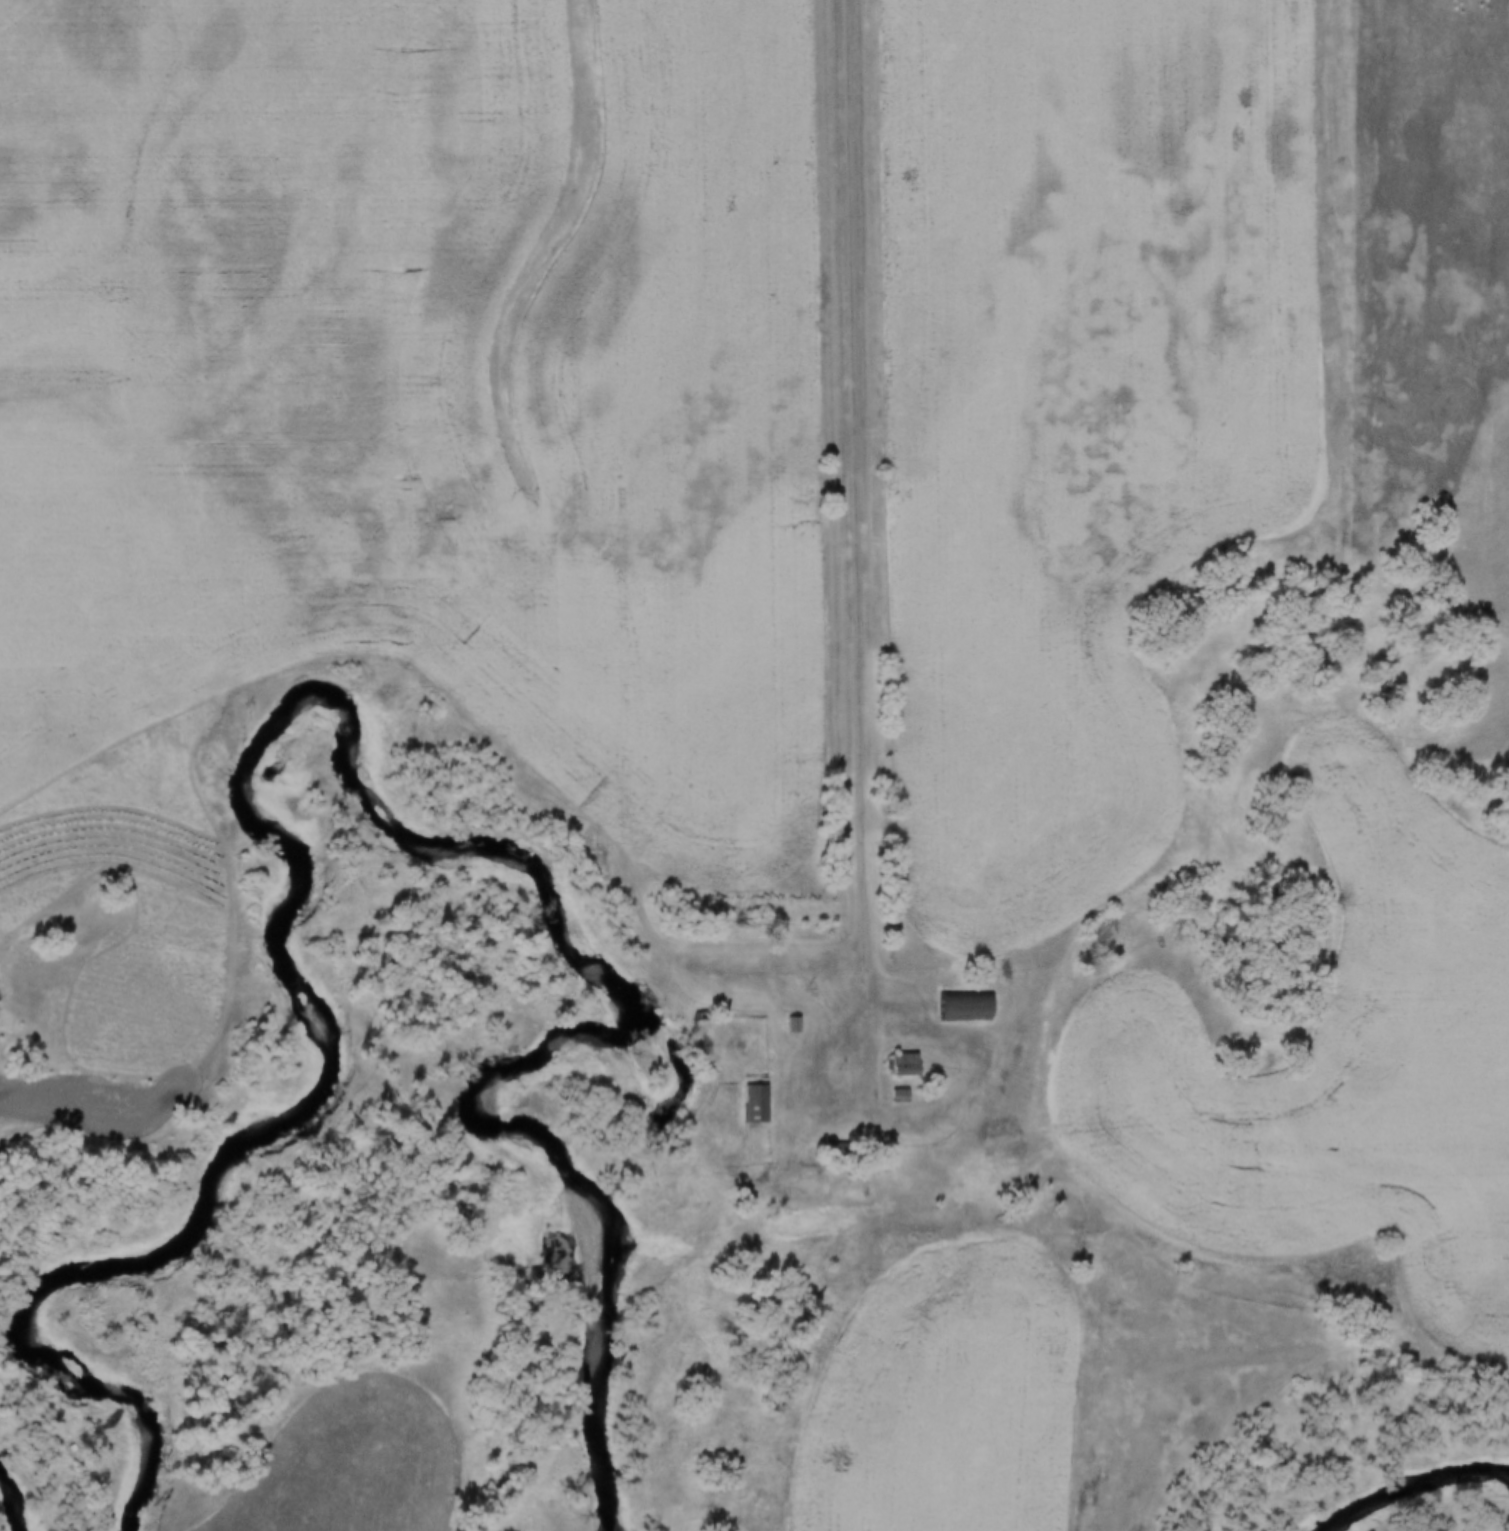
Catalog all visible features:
road: (861, 534)
building: (803, 997)
building: (953, 1008)
building: (791, 1018)
building: (782, 1025)
building: (892, 1066)
building: (888, 1097)
building: (744, 1105)

